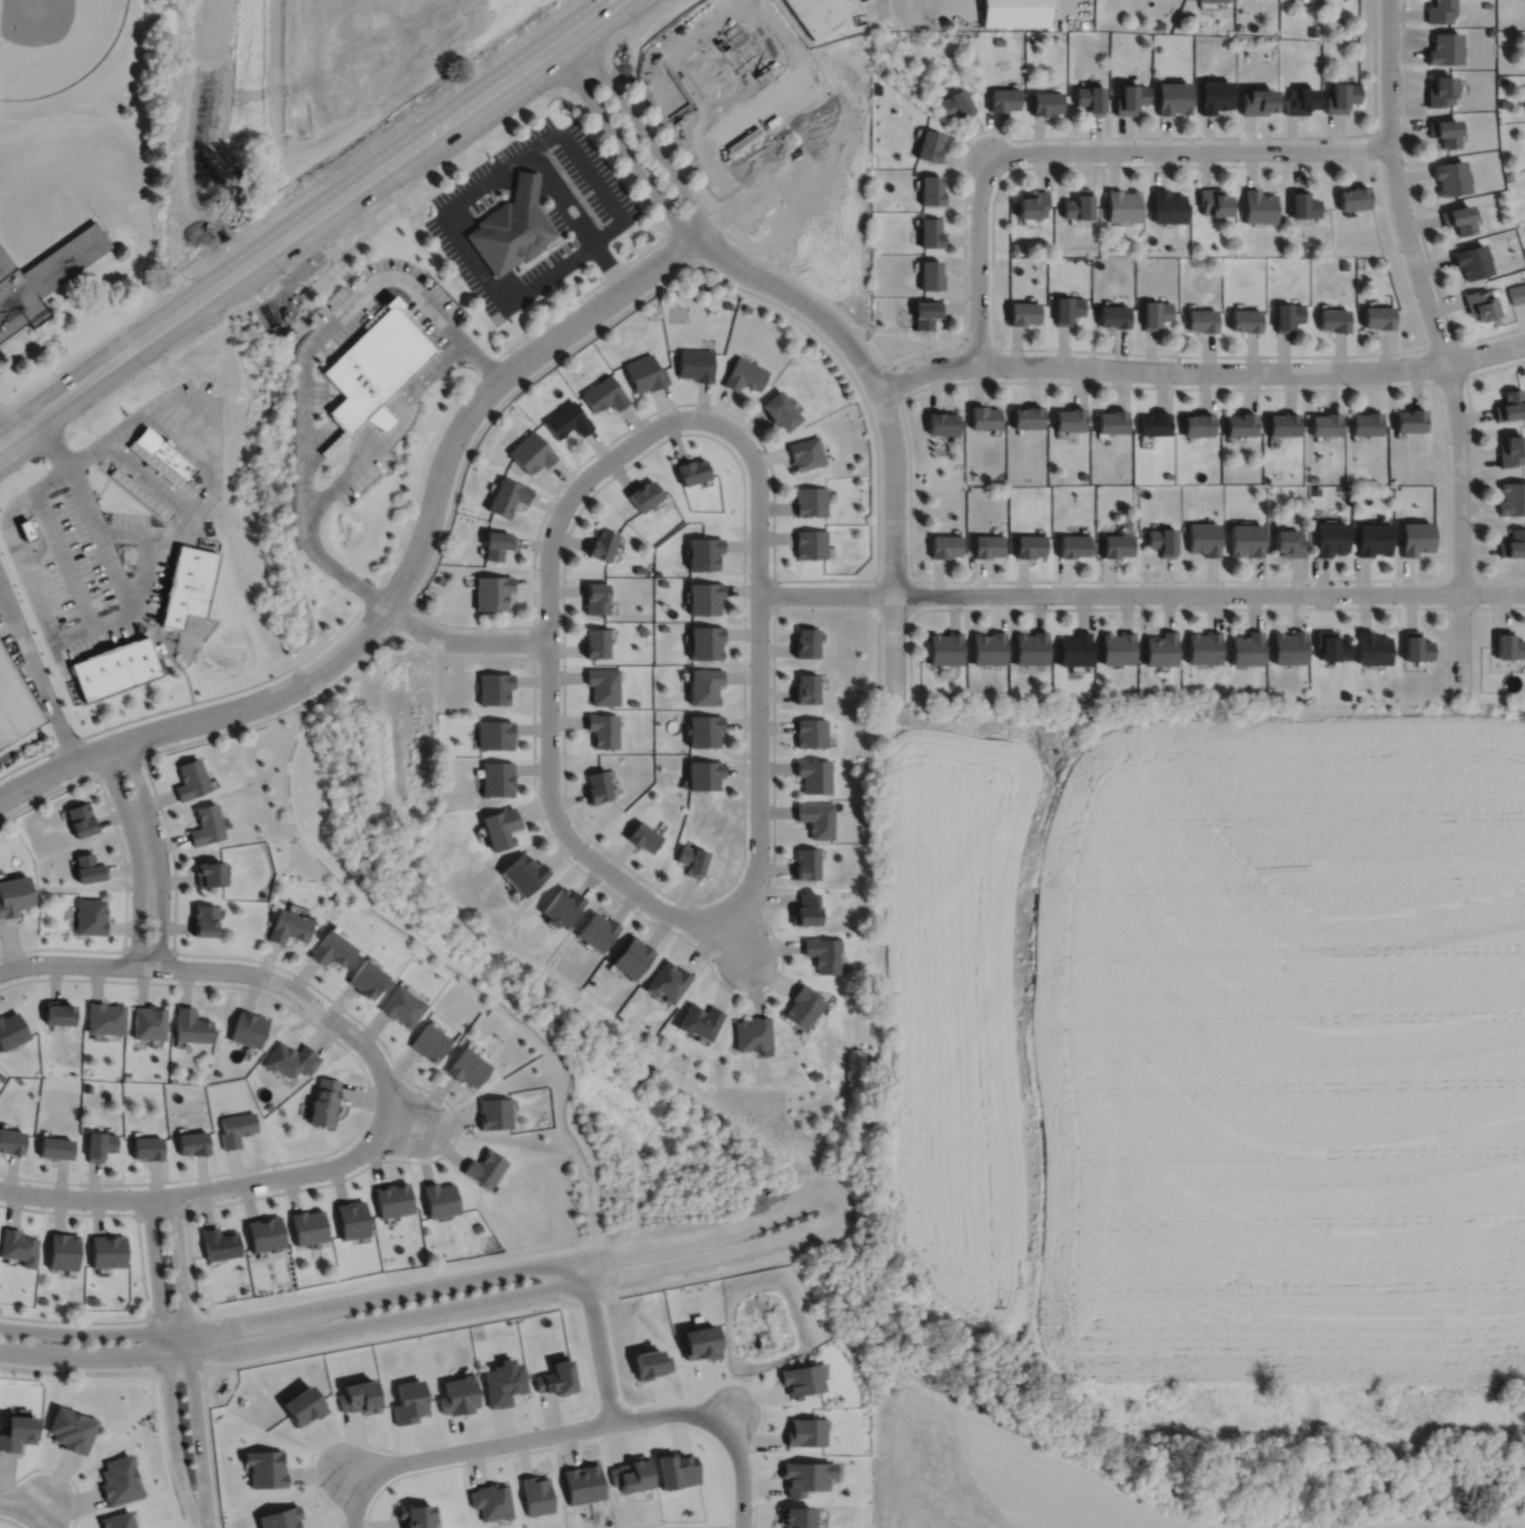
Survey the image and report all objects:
building: (1213, 1)
parking lot: (873, 9)
building: (1436, 10)
building: (817, 12)
building: (1014, 12)
building: (1157, 22)
building: (1239, 25)
building: (1312, 31)
building: (998, 40)
building: (1442, 46)
park: (63, 52)
building: (1438, 89)
building: (1213, 94)
building: (1171, 95)
building: (1341, 95)
building: (1088, 96)
building: (1128, 96)
building: (1002, 97)
building: (1256, 99)
building: (1299, 99)
building: (1044, 101)
building: (954, 102)
road: (639, 130)
building: (1443, 130)
road: (1072, 137)
building: (927, 143)
road: (620, 145)
road: (1378, 145)
road: (1192, 150)
building: (1449, 176)
road: (520, 182)
building: (525, 184)
building: (929, 188)
building: (1352, 196)
road: (1384, 196)
road: (606, 197)
road: (560, 198)
building: (1211, 200)
building: (1301, 202)
building: (1029, 203)
building: (1076, 204)
building: (1120, 204)
building: (1165, 205)
building: (1257, 205)
road: (1415, 210)
parking lot: (528, 215)
building: (1457, 217)
road: (309, 221)
building: (928, 231)
building: (510, 234)
building: (1013, 245)
building: (1169, 247)
road: (978, 253)
road: (473, 260)
building: (1471, 260)
building: (1343, 264)
building: (928, 274)
building: (42, 276)
building: (1516, 293)
building: (1478, 303)
building: (725, 304)
building: (745, 308)
building: (1065, 308)
building: (924, 312)
building: (1020, 312)
building: (1153, 312)
building: (1286, 315)
building: (1112, 316)
building: (1377, 316)
building: (1200, 319)
building: (1244, 319)
building: (1333, 319)
road: (978, 347)
road: (1440, 347)
road: (303, 362)
building: (694, 364)
building: (374, 365)
road: (1200, 370)
building: (644, 373)
building: (743, 374)
road: (1463, 375)
road: (894, 381)
road: (1436, 387)
building: (603, 394)
building: (1509, 405)
building: (779, 410)
building: (982, 417)
building: (1025, 417)
building: (1068, 419)
road: (8, 420)
building: (566, 420)
building: (1410, 420)
building: (1110, 421)
road: (888, 423)
building: (940, 423)
building: (1153, 423)
building: (1366, 423)
building: (1196, 424)
building: (1239, 424)
building: (1282, 424)
building: (1324, 425)
road: (388, 433)
building: (1510, 450)
building: (530, 453)
building: (805, 453)
road: (465, 455)
building: (160, 456)
building: (692, 468)
road: (1475, 471)
building: (1081, 475)
building: (1167, 475)
building: (1266, 478)
building: (1311, 478)
building: (1097, 488)
building: (136, 492)
building: (645, 492)
building: (505, 497)
building: (1512, 499)
building: (810, 501)
road: (5, 519)
building: (28, 526)
building: (1415, 538)
building: (1202, 539)
building: (1329, 539)
building: (1244, 540)
building: (1372, 540)
road: (743, 541)
building: (1159, 541)
building: (602, 542)
building: (810, 544)
building: (1287, 544)
building: (1513, 544)
building: (495, 545)
building: (942, 546)
building: (985, 546)
building: (1027, 546)
building: (1071, 546)
building: (1114, 546)
road: (395, 549)
building: (705, 549)
road: (142, 568)
building: (657, 571)
road: (403, 575)
road: (1474, 579)
building: (438, 580)
road: (894, 580)
building: (662, 581)
building: (188, 583)
building: (490, 593)
road: (876, 593)
road: (1209, 593)
road: (392, 594)
road: (825, 594)
building: (704, 595)
building: (597, 596)
road: (773, 596)
road: (913, 596)
road: (1182, 607)
road: (893, 608)
road: (758, 610)
parking lot: (9, 611)
road: (1475, 624)
road: (389, 625)
building: (663, 626)
building: (643, 628)
road: (461, 639)
building: (597, 640)
building: (705, 640)
building: (807, 640)
road: (530, 641)
building: (1328, 644)
building: (1415, 644)
building: (1506, 644)
building: (1028, 645)
building: (1115, 645)
building: (1202, 645)
building: (1287, 645)
building: (943, 646)
building: (986, 646)
building: (1244, 646)
building: (1370, 646)
building: (1072, 647)
building: (1159, 647)
road: (371, 648)
building: (116, 666)
road: (39, 671)
road: (548, 678)
building: (704, 683)
building: (603, 684)
building: (493, 686)
building: (807, 687)
building: (15, 700)
building: (632, 701)
building: (603, 727)
building: (705, 728)
building: (811, 731)
building: (494, 732)
building: (442, 750)
building: (442, 761)
road: (118, 763)
building: (704, 773)
building: (814, 774)
building: (495, 777)
building: (188, 778)
building: (599, 784)
building: (817, 817)
building: (80, 818)
building: (204, 823)
building: (498, 826)
building: (644, 835)
road: (159, 851)
road: (135, 854)
building: (693, 859)
building: (807, 862)
building: (88, 867)
road: (124, 867)
building: (207, 872)
building: (522, 872)
building: (14, 894)
building: (560, 906)
building: (806, 908)
road: (716, 911)
building: (90, 915)
building: (202, 919)
building: (286, 925)
building: (595, 930)
road: (734, 935)
building: (331, 948)
road: (149, 951)
building: (823, 953)
building: (631, 956)
road: (205, 969)
building: (366, 978)
building: (667, 981)
building: (401, 1004)
building: (802, 1006)
building: (58, 1012)
building: (104, 1017)
building: (699, 1021)
building: (147, 1022)
building: (189, 1026)
building: (247, 1028)
building: (11, 1030)
building: (752, 1033)
road: (543, 1041)
building: (429, 1042)
crop: (1215, 1042)
building: (290, 1059)
building: (466, 1067)
building: (217, 1072)
building: (1, 1076)
building: (88, 1087)
road: (368, 1088)
building: (324, 1103)
building: (267, 1105)
building: (493, 1113)
road: (381, 1116)
road: (402, 1120)
building: (235, 1128)
building: (11, 1142)
building: (192, 1143)
building: (98, 1145)
building: (55, 1148)
building: (146, 1148)
building: (484, 1169)
road: (177, 1193)
road: (841, 1199)
building: (438, 1200)
building: (391, 1201)
road: (160, 1210)
building: (350, 1221)
building: (306, 1227)
building: (477, 1227)
building: (263, 1235)
building: (16, 1243)
building: (217, 1244)
building: (60, 1248)
building: (105, 1248)
road: (142, 1271)
building: (241, 1289)
building: (41, 1298)
building: (91, 1298)
road: (92, 1332)
road: (596, 1339)
road: (305, 1351)
road: (93, 1357)
road: (188, 1359)
road: (164, 1362)
building: (557, 1376)
building: (800, 1377)
building: (503, 1380)
building: (302, 1403)
road: (727, 1416)
building: (69, 1428)
building: (16, 1430)
building: (804, 1430)
road: (539, 1435)
road: (751, 1448)
road: (210, 1449)
building: (265, 1467)
road: (60, 1470)
building: (630, 1473)
road: (399, 1475)
building: (804, 1475)
road: (354, 1476)
road: (741, 1477)
building: (117, 1479)
building: (582, 1482)
building: (535, 1494)
building: (490, 1500)
road: (41, 1505)
road: (16, 1507)
road: (355, 1509)
building: (412, 1514)
building: (795, 1516)
building: (279, 1517)
road: (12, 1520)
building: (116, 1520)
road: (37, 1522)
road: (688, 1526)

